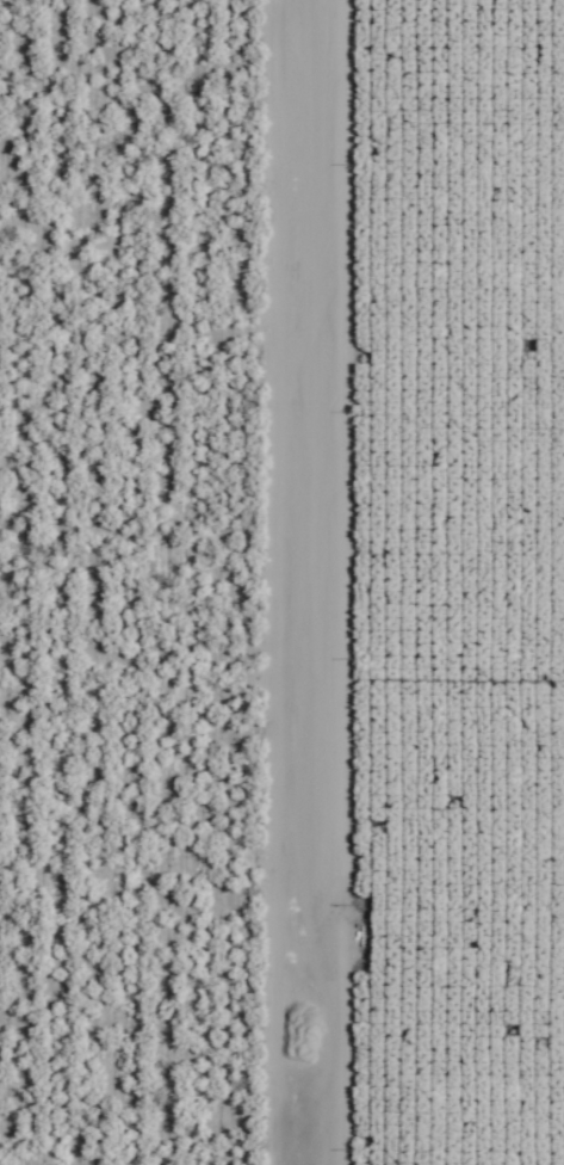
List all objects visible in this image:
road: (303, 582)

